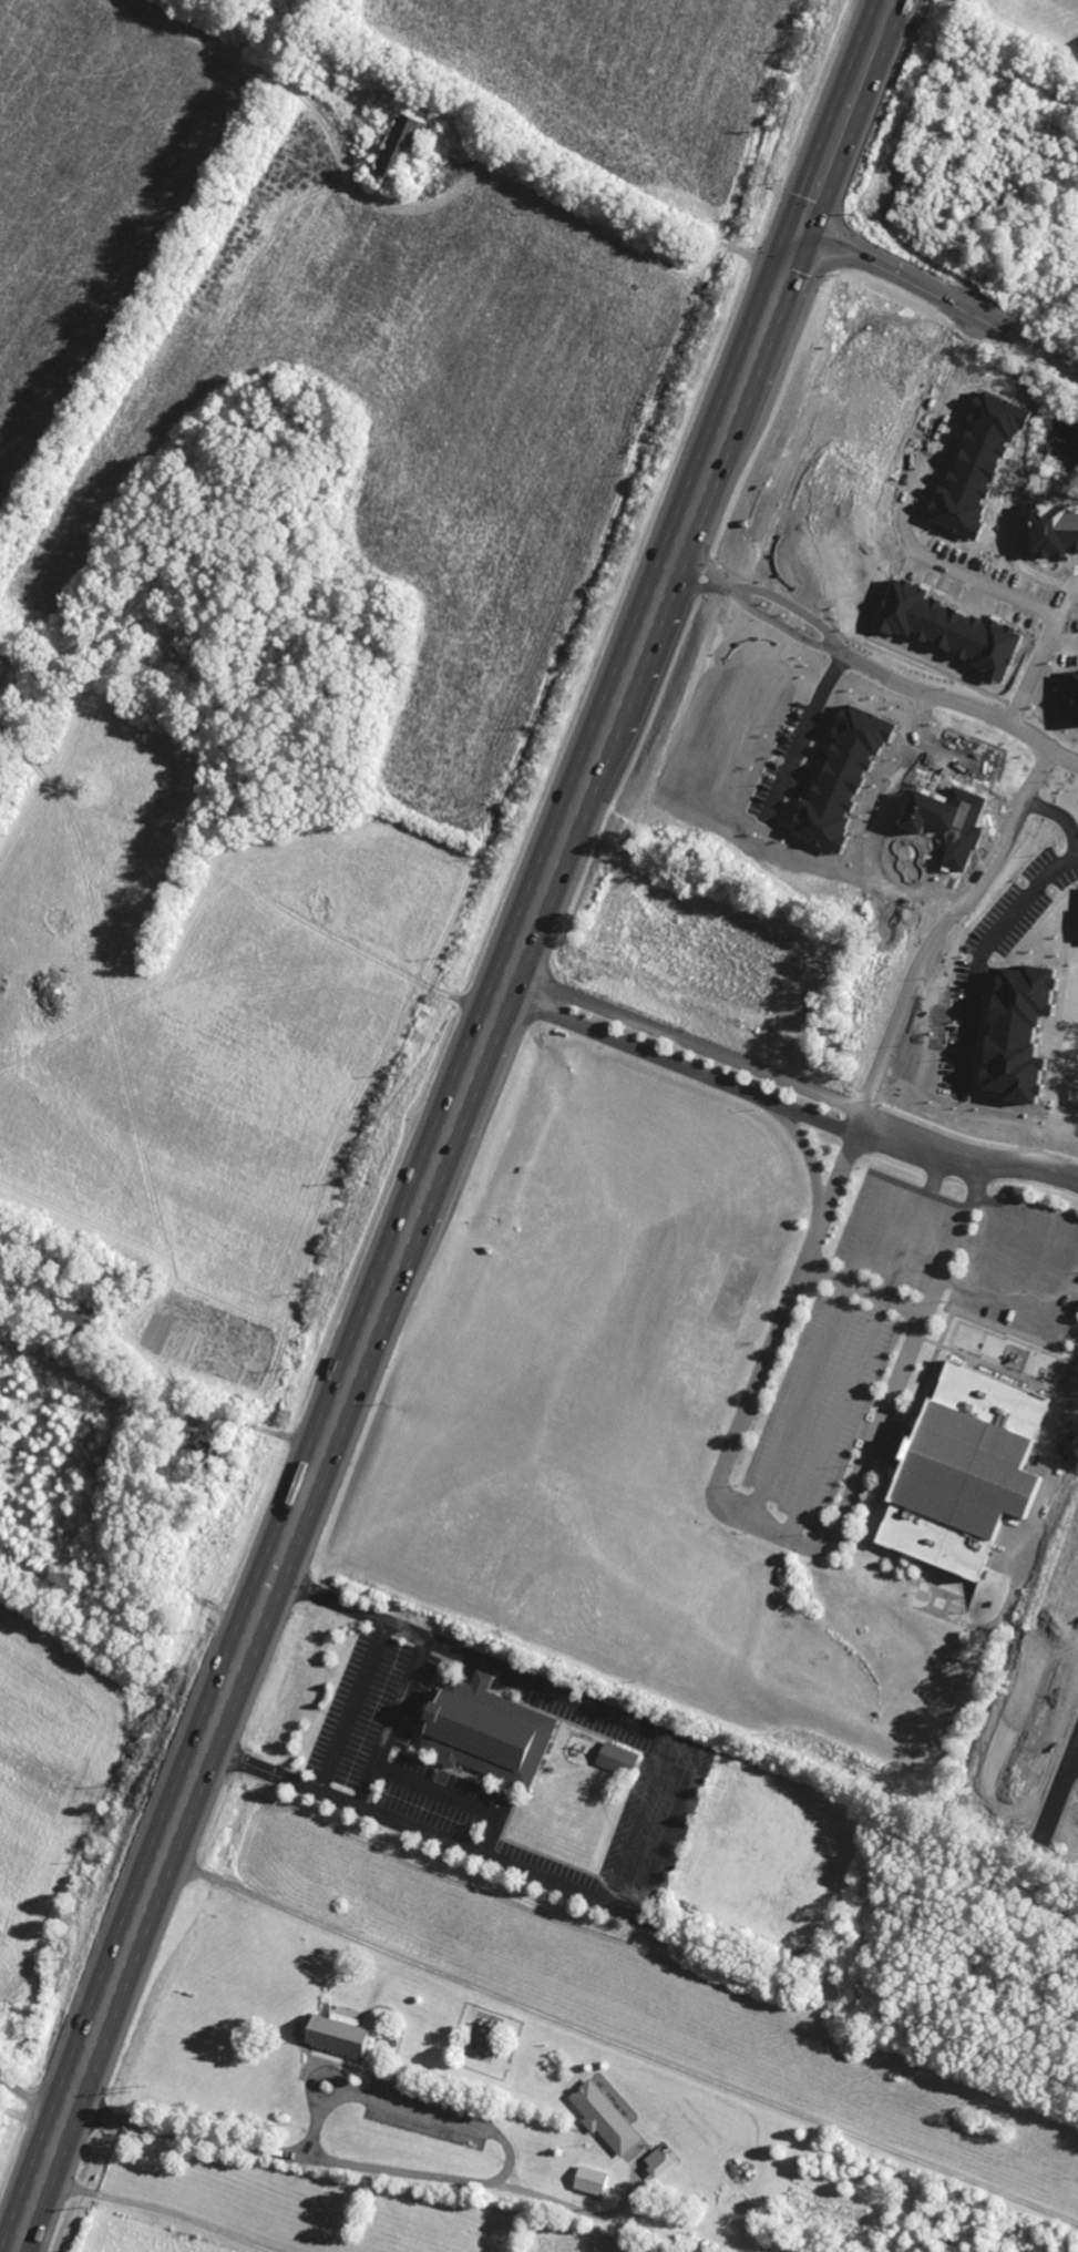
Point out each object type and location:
road: (848, 113)
building: (399, 146)
road: (622, 191)
traffic signals: (803, 226)
road: (941, 297)
road: (952, 569)
road: (696, 576)
road: (789, 607)
road: (778, 626)
building: (948, 627)
road: (1035, 648)
road: (962, 703)
road: (810, 715)
road: (935, 747)
building: (841, 778)
building: (936, 810)
road: (1058, 816)
road: (943, 930)
road: (979, 945)
building: (1020, 1032)
road: (688, 1041)
road: (678, 1063)
road: (804, 1150)
road: (966, 1156)
road: (1004, 1209)
road: (404, 1237)
road: (1016, 1261)
road: (862, 1290)
road: (1008, 1303)
building: (74, 1318)
road: (825, 1328)
road: (866, 1344)
road: (1060, 1403)
building: (968, 1471)
road: (774, 1532)
road: (388, 1722)
building: (490, 1731)
road: (1076, 1748)
building: (618, 1760)
road: (1059, 1782)
road: (453, 1801)
road: (664, 1834)
building: (340, 2036)
road: (619, 2040)
road: (337, 2074)
road: (32, 2084)
road: (445, 2119)
building: (606, 2119)
road: (314, 2127)
building: (660, 2162)
road: (357, 2163)
building: (593, 2181)
road: (161, 2209)

